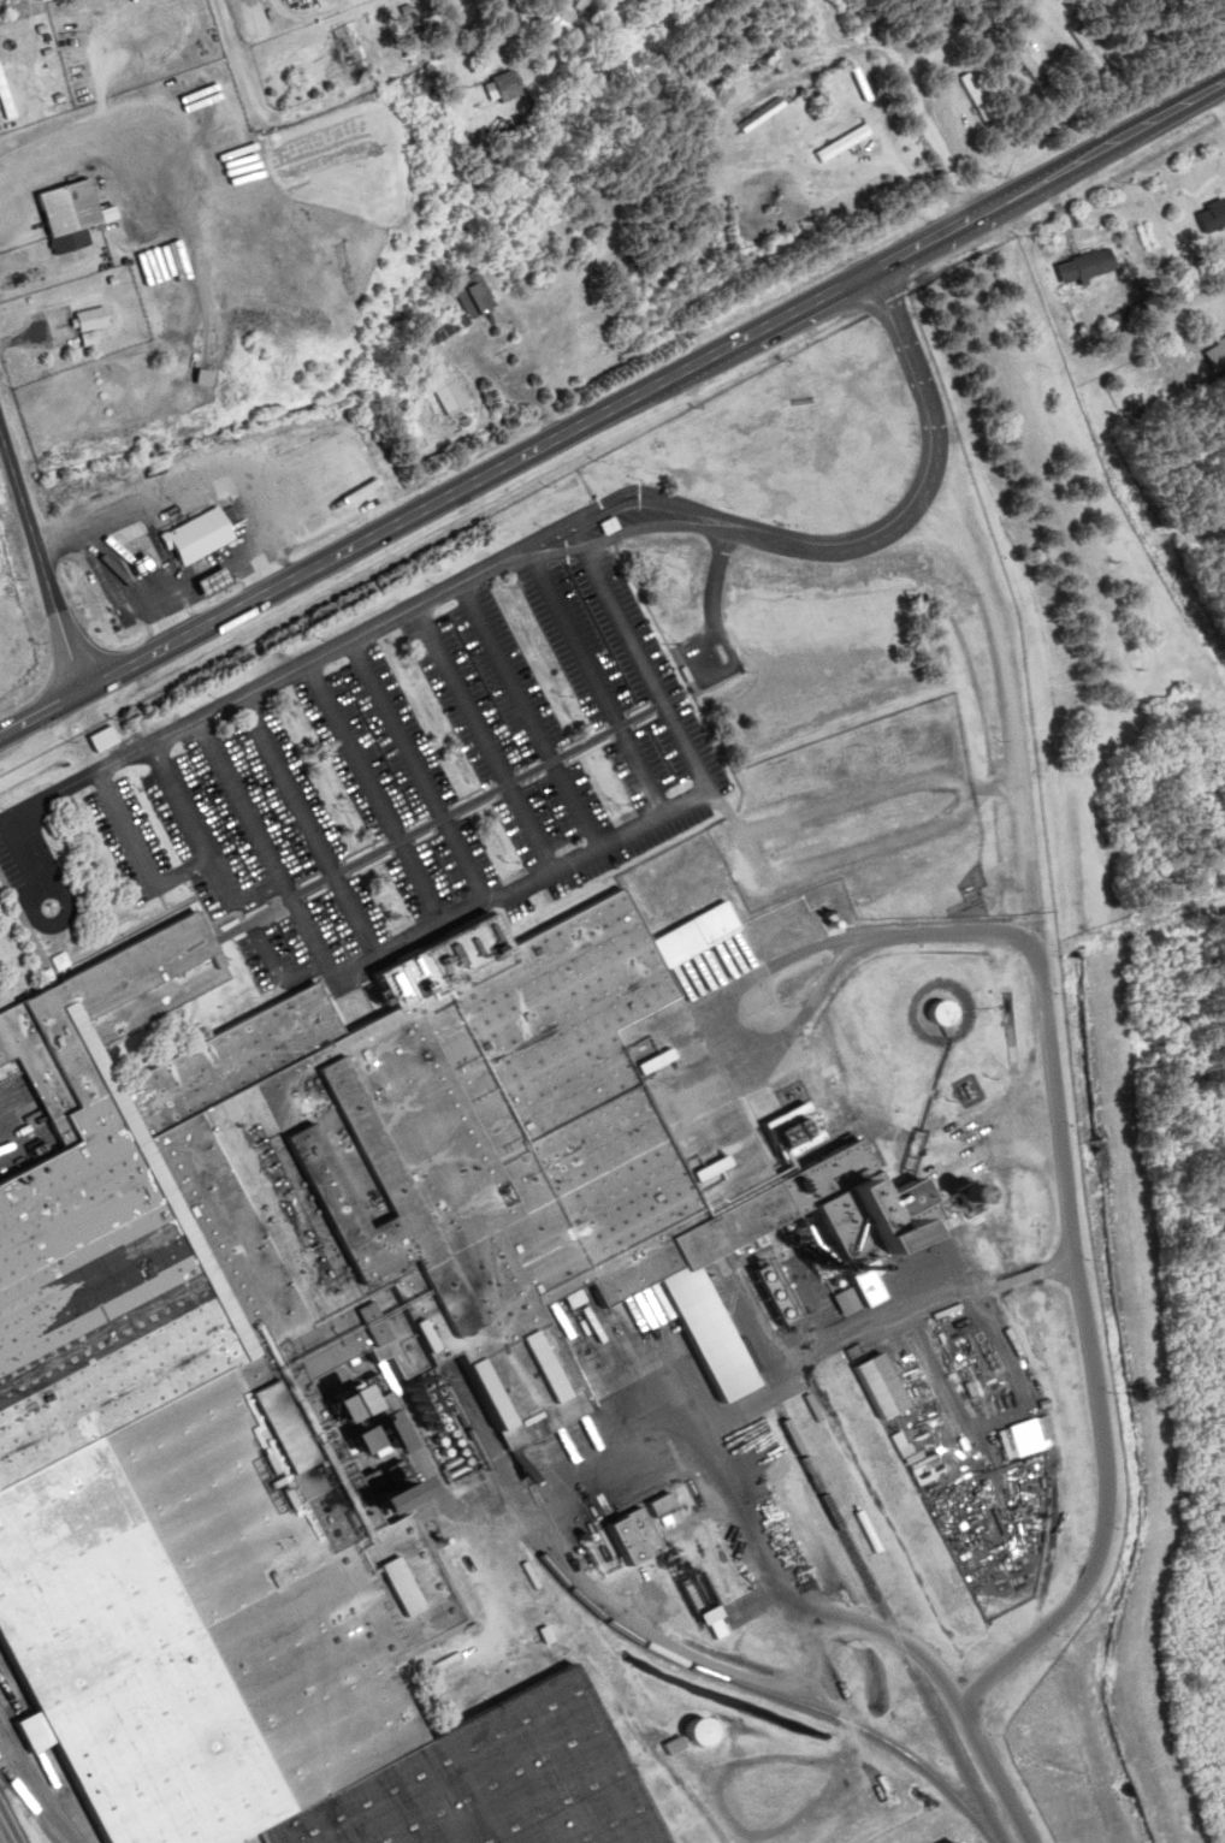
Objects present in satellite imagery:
building: (590, 5)
building: (1089, 46)
building: (351, 52)
road: (245, 57)
building: (1035, 70)
building: (515, 87)
building: (10, 93)
building: (980, 99)
building: (442, 103)
building: (1214, 214)
building: (79, 215)
building: (161, 266)
building: (350, 269)
building: (480, 296)
building: (95, 326)
road: (1061, 330)
building: (452, 391)
road: (612, 409)
building: (1135, 411)
road: (625, 503)
road: (906, 509)
building: (617, 527)
road: (629, 532)
building: (209, 535)
road: (41, 558)
building: (224, 581)
road: (1011, 691)
road: (531, 712)
road: (185, 724)
road: (484, 735)
building: (111, 740)
road: (420, 768)
parking lot: (386, 780)
road: (859, 802)
road: (682, 808)
road: (384, 816)
road: (864, 855)
road: (551, 867)
road: (182, 871)
road: (239, 903)
road: (366, 971)
road: (283, 972)
building: (948, 1014)
building: (348, 1369)
building: (890, 1388)
road: (1101, 1408)
building: (440, 1409)
building: (438, 1501)
building: (671, 1507)
railway: (860, 1557)
railway: (638, 1641)
railway: (53, 1744)
road: (6, 1829)

